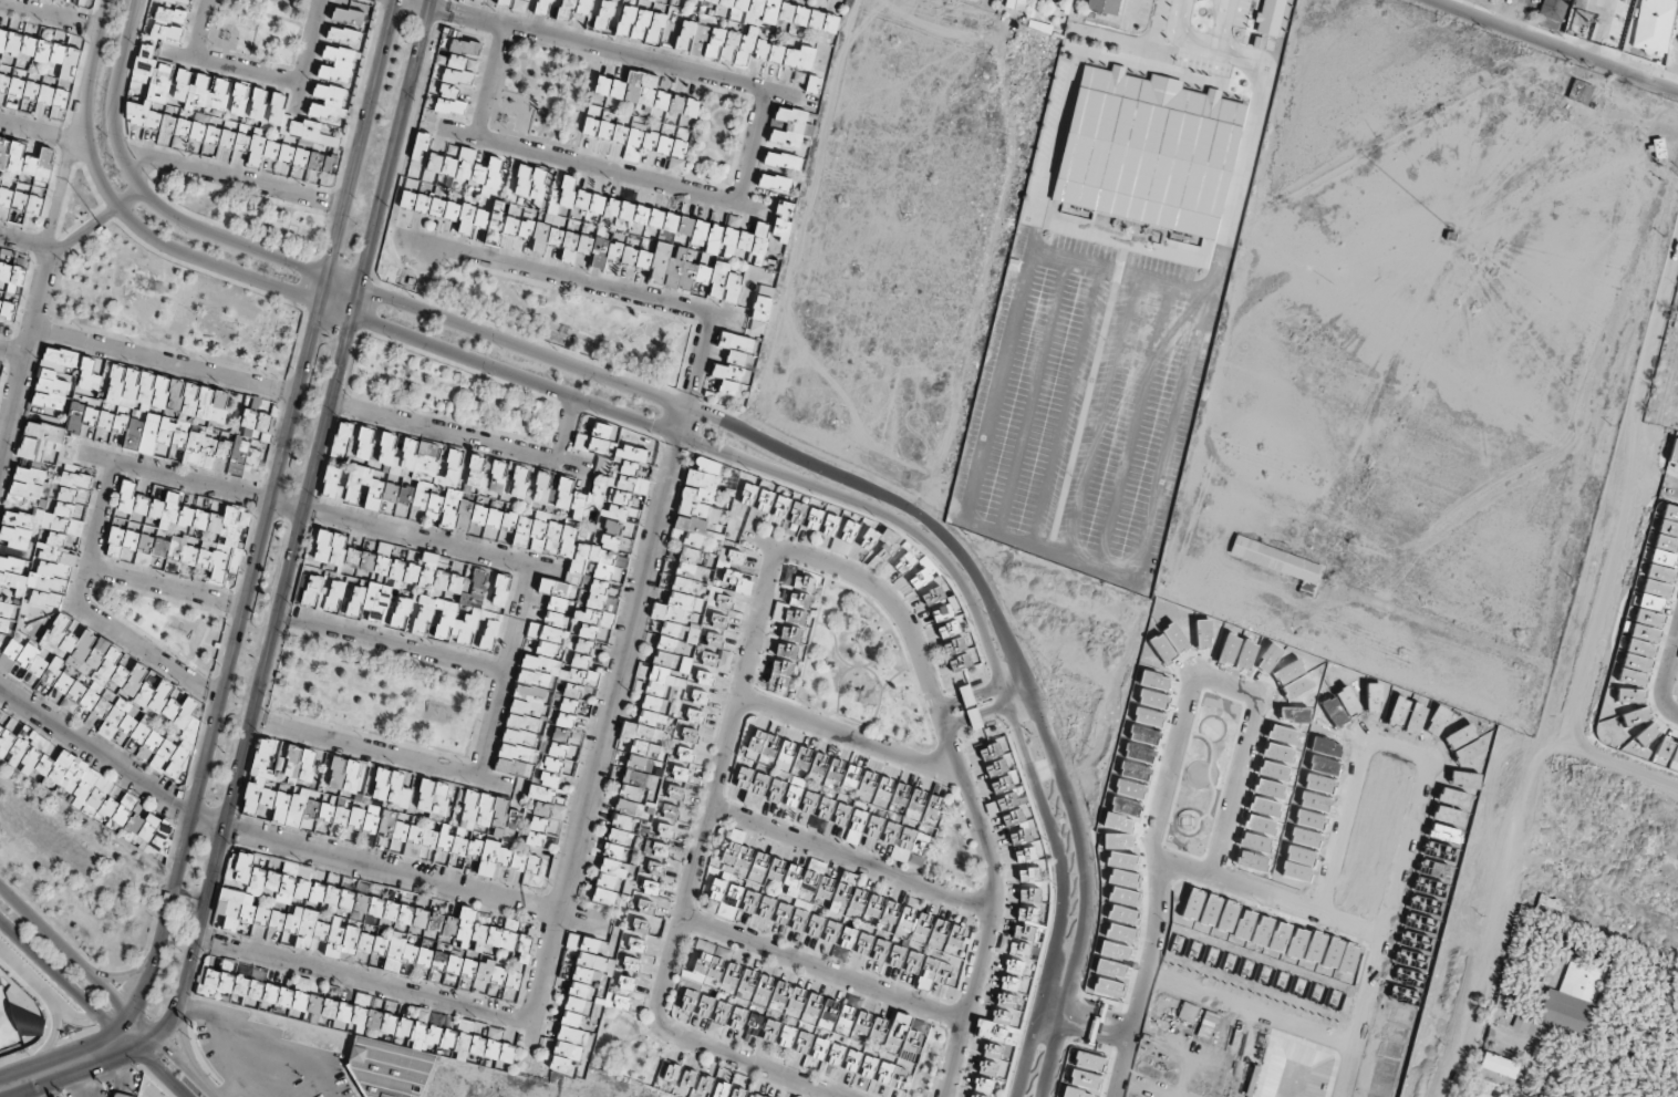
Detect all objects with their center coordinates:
park: (258, 28)
park: (551, 87)
park: (716, 136)
park: (249, 211)
park: (173, 304)
park: (445, 387)
park: (172, 621)
crop: (1637, 623)
park: (376, 693)
park: (76, 867)

